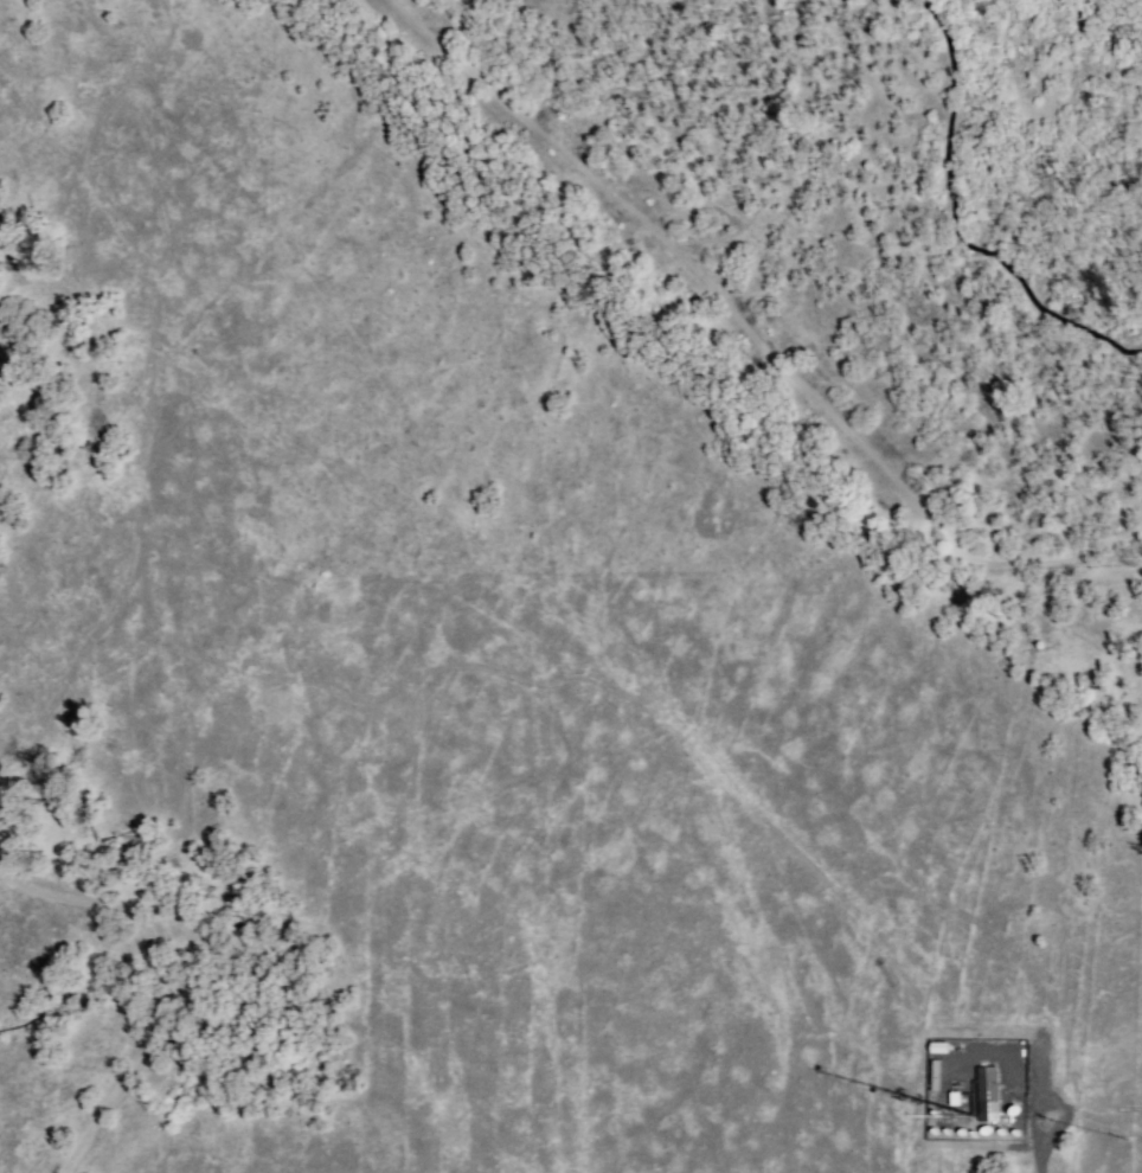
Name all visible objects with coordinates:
road: (169, 980)
building: (986, 1094)

